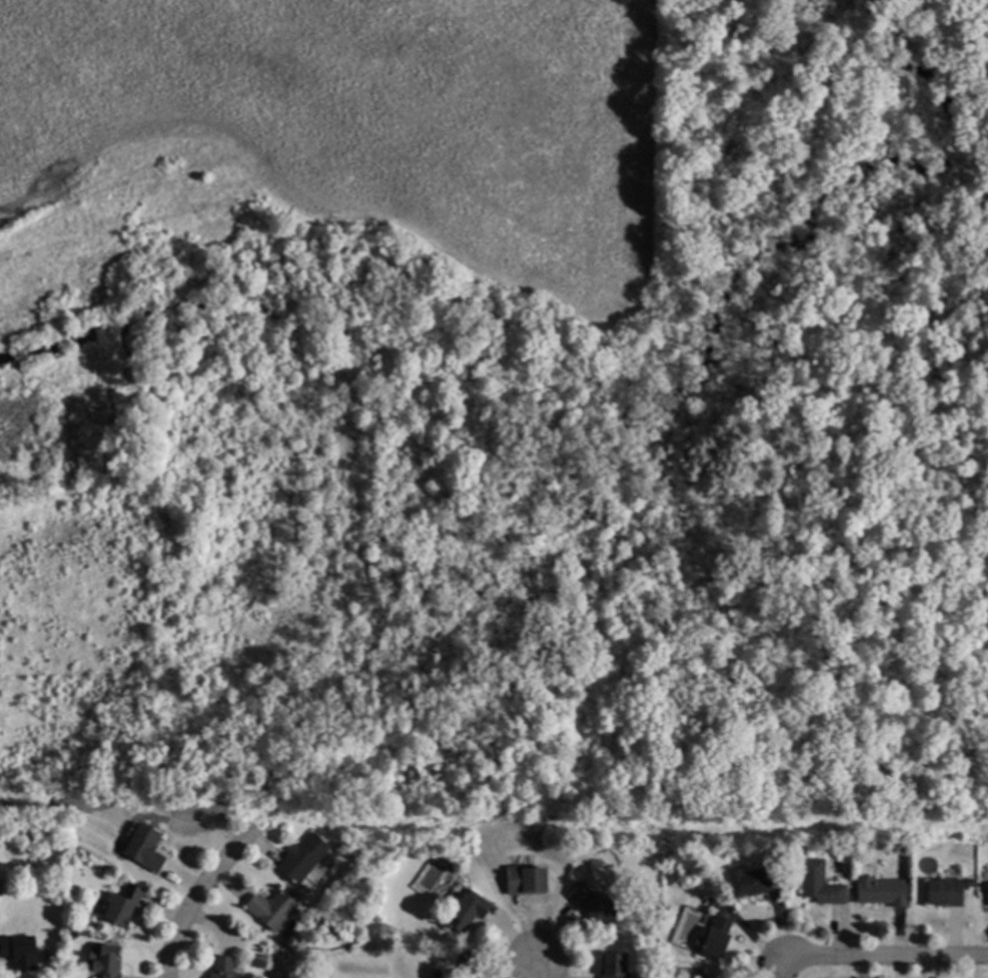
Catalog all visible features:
building: (147, 848)
building: (304, 858)
building: (844, 867)
building: (527, 880)
building: (755, 880)
building: (821, 883)
building: (884, 891)
building: (948, 891)
building: (987, 893)
road: (197, 901)
building: (714, 902)
building: (125, 904)
building: (595, 904)
building: (273, 908)
building: (470, 911)
building: (716, 938)
building: (22, 951)
road: (885, 957)
building: (108, 960)
building: (615, 966)
road: (781, 967)
building: (226, 968)
road: (542, 970)

